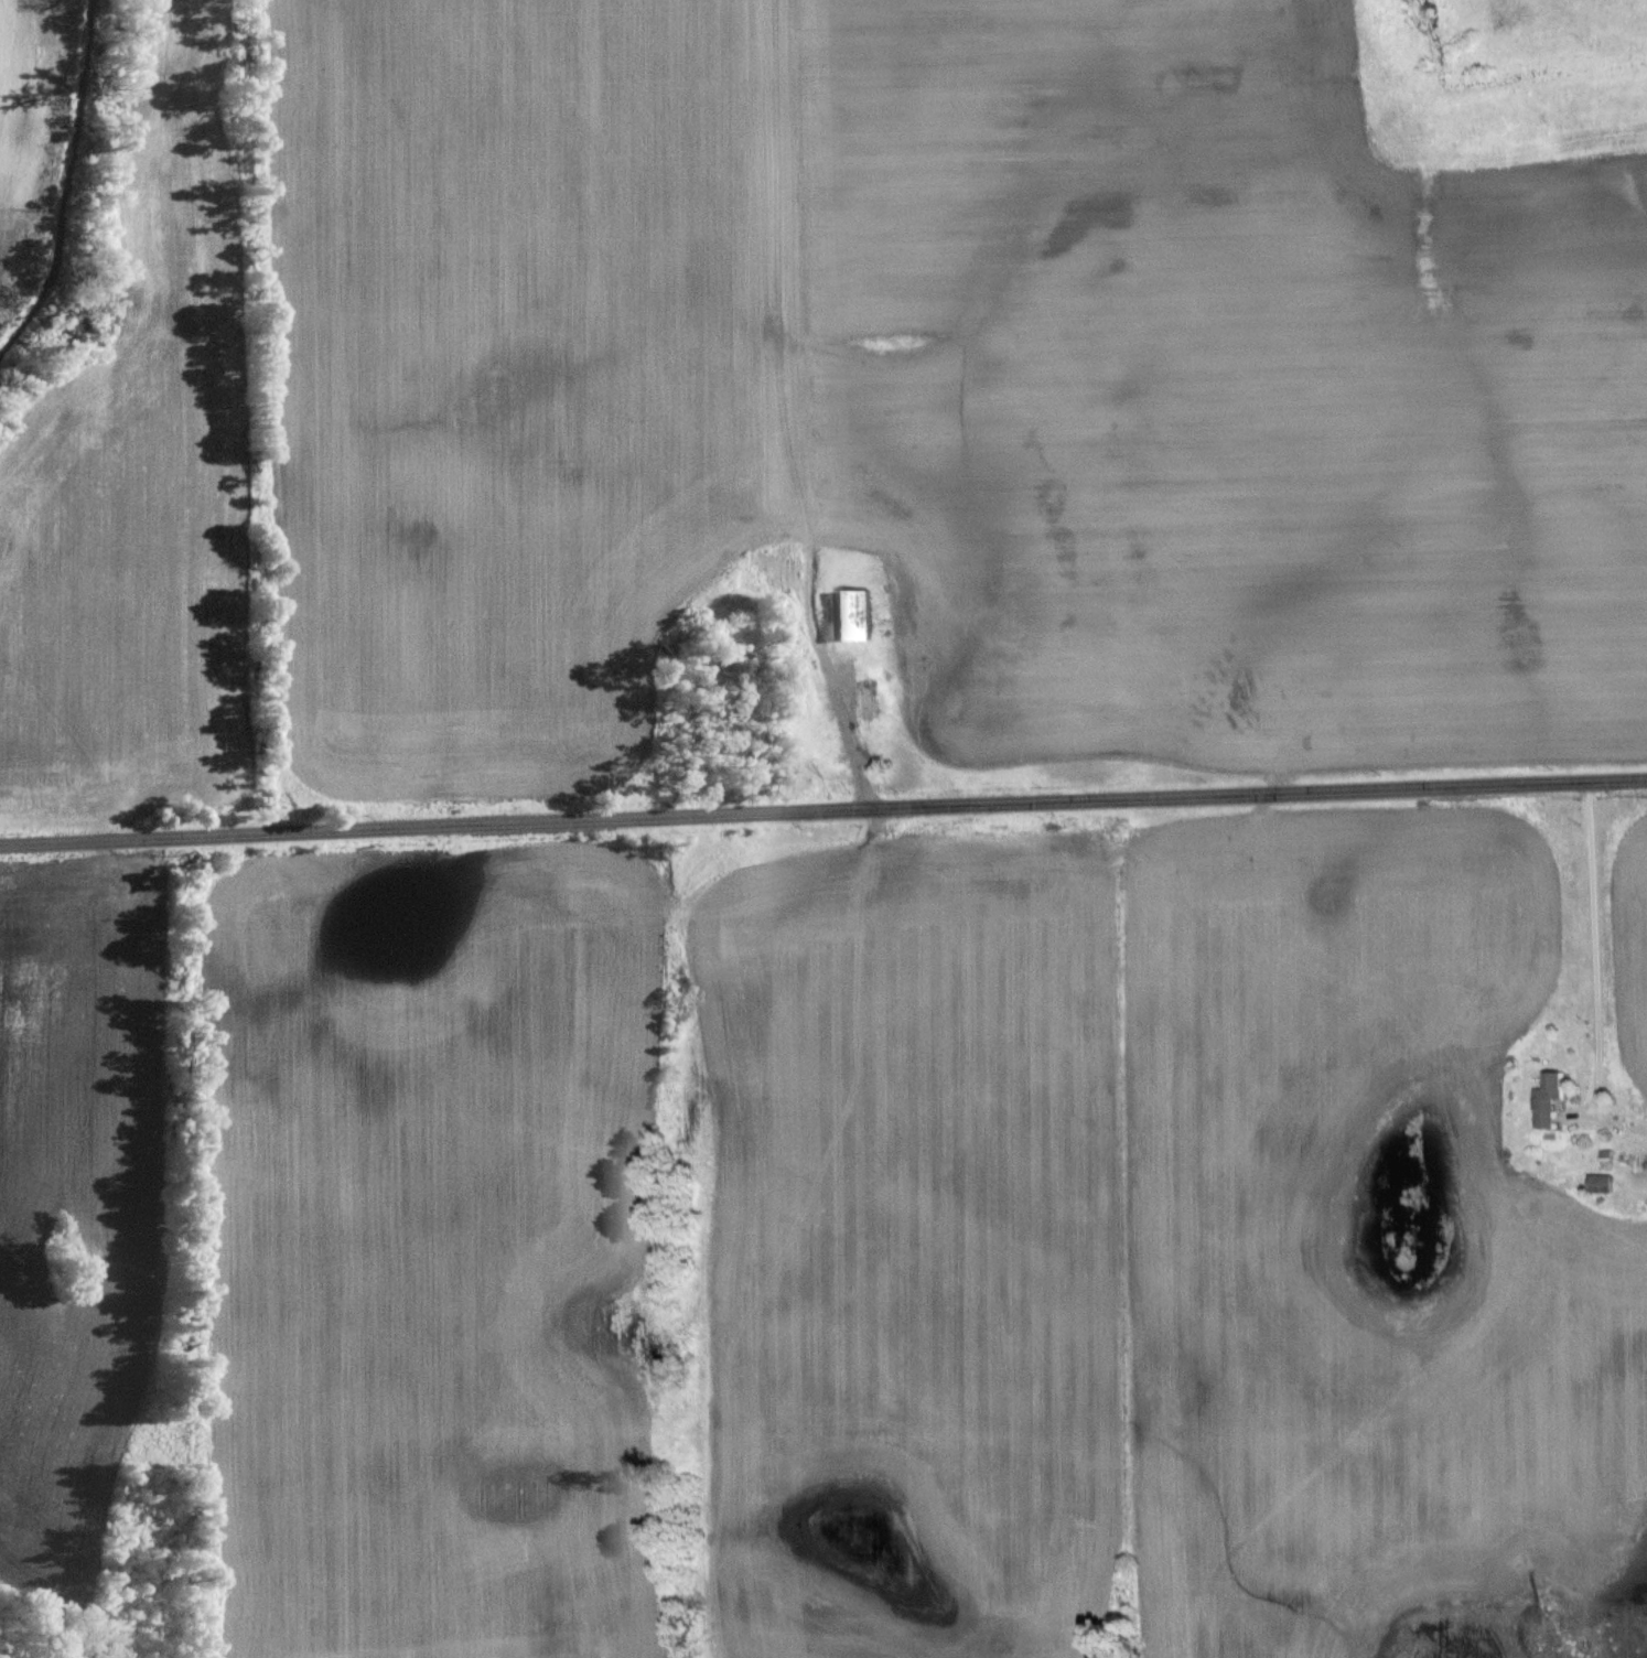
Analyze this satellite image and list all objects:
building: (862, 613)
building: (883, 686)
road: (822, 809)
building: (1541, 1099)
building: (1593, 1182)

